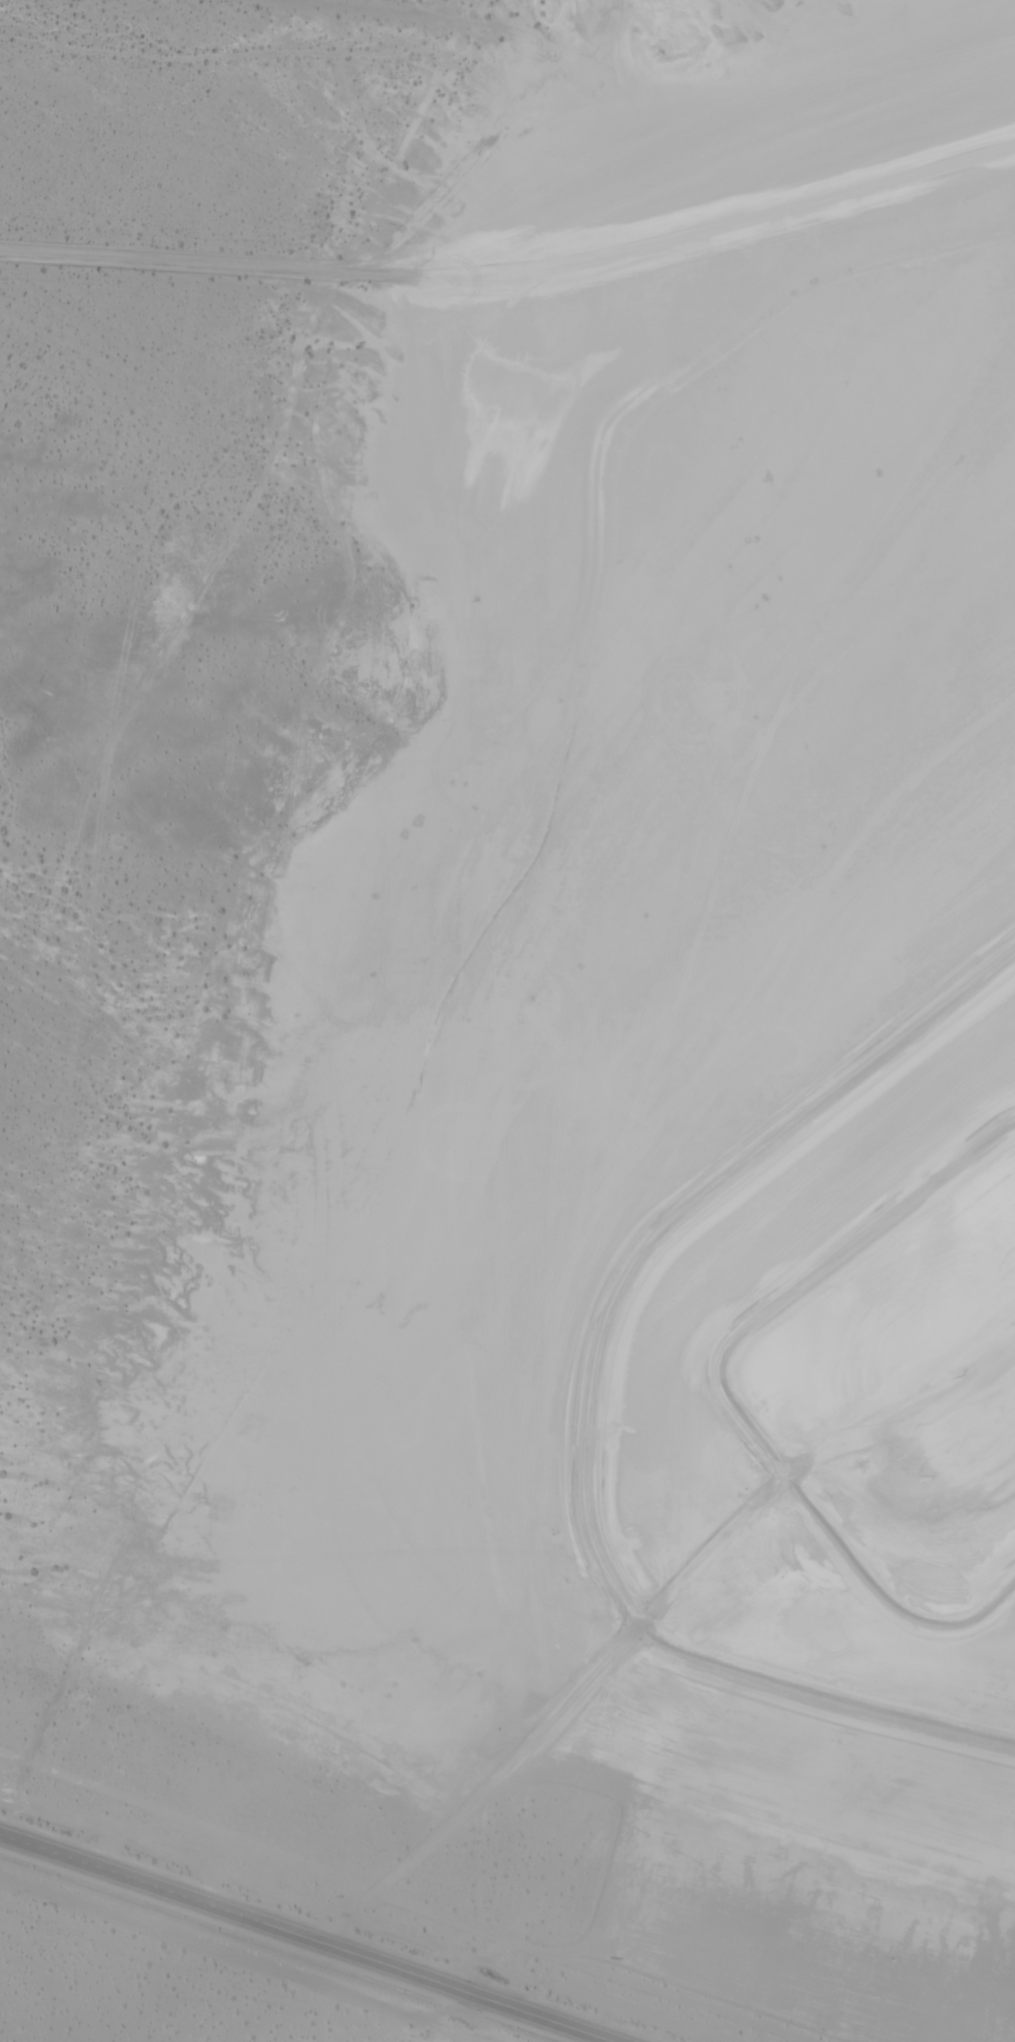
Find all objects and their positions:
road: (386, 12)
road: (187, 263)
airport: (532, 1070)
airport runway: (972, 1444)
road: (301, 1940)
road: (242, 1960)

